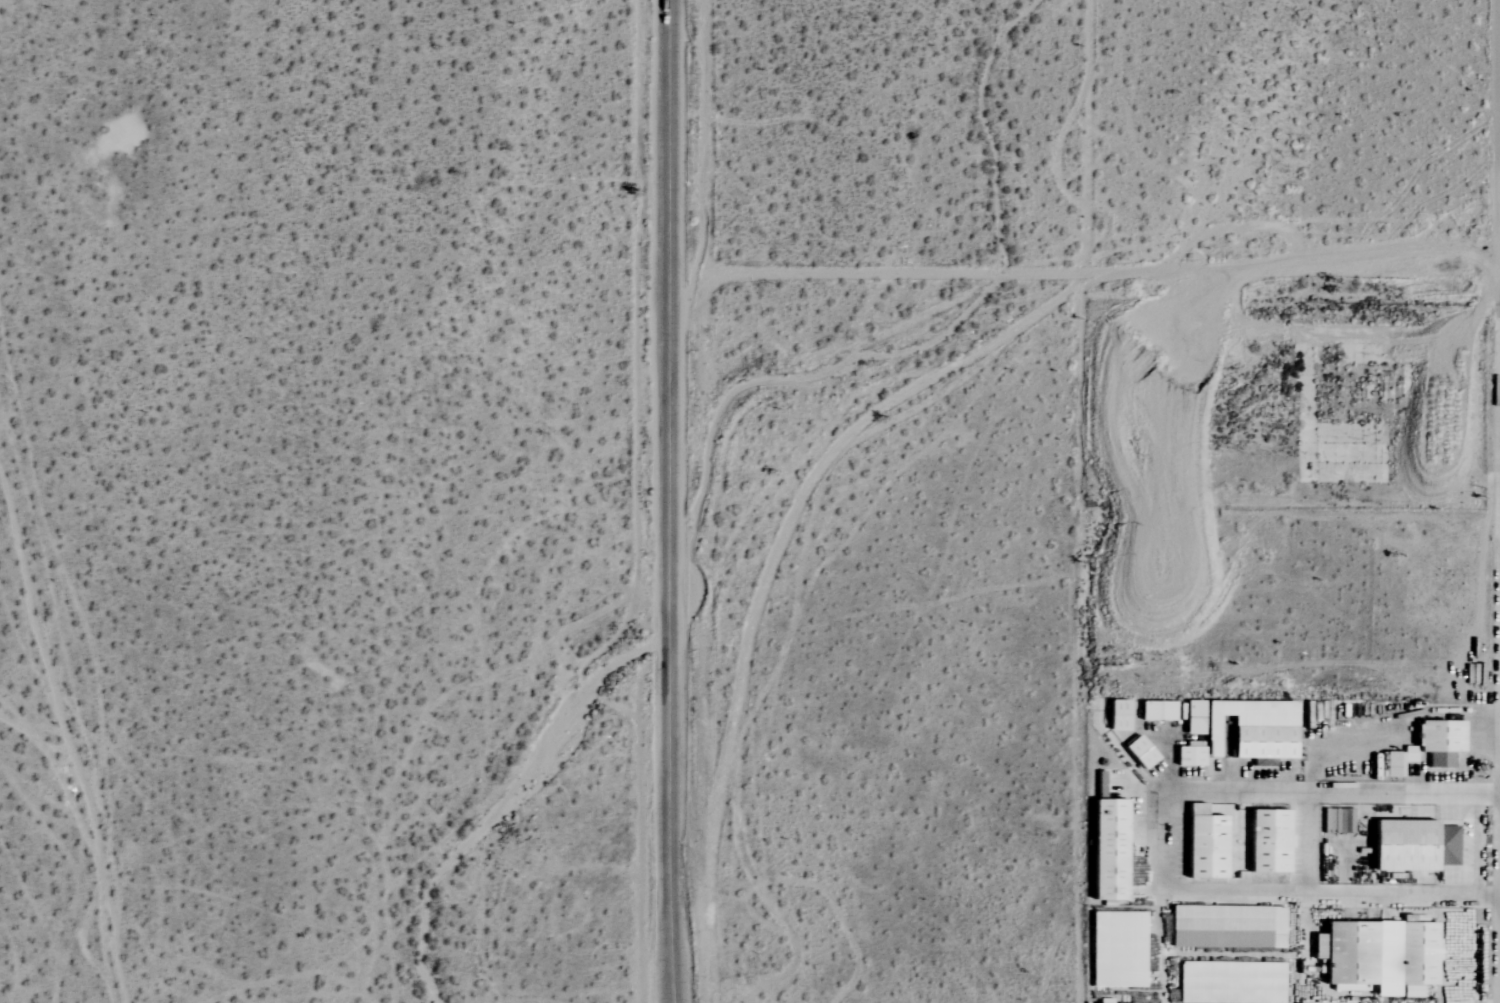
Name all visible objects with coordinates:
road: (1090, 137)
road: (1089, 275)
road: (672, 501)
building: (1155, 710)
building: (1116, 715)
building: (1191, 718)
building: (1252, 728)
building: (1438, 741)
building: (1138, 752)
building: (1408, 754)
building: (1187, 756)
building: (1389, 764)
building: (1331, 820)
building: (1266, 841)
road: (1161, 843)
building: (1202, 843)
building: (1412, 845)
building: (1105, 849)
building: (1225, 927)
building: (1116, 949)
building: (1375, 954)
building: (1228, 982)
building: (1101, 1001)

